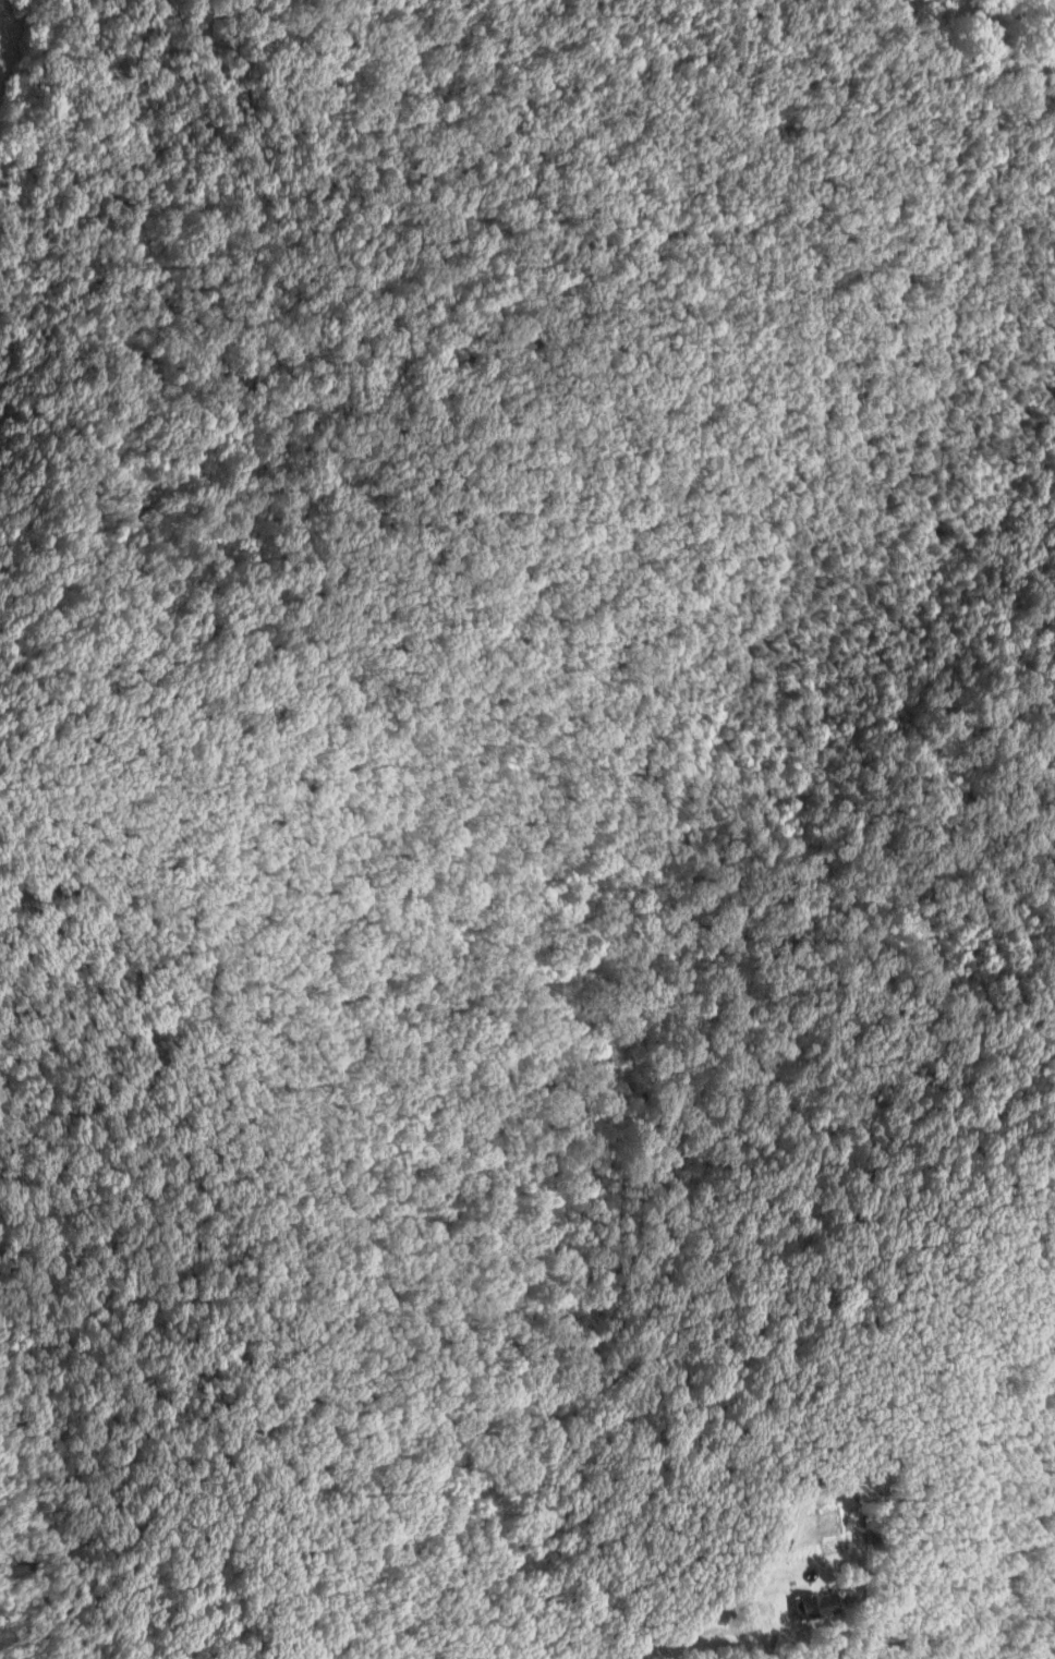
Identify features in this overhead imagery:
road: (747, 1593)
building: (803, 1606)

